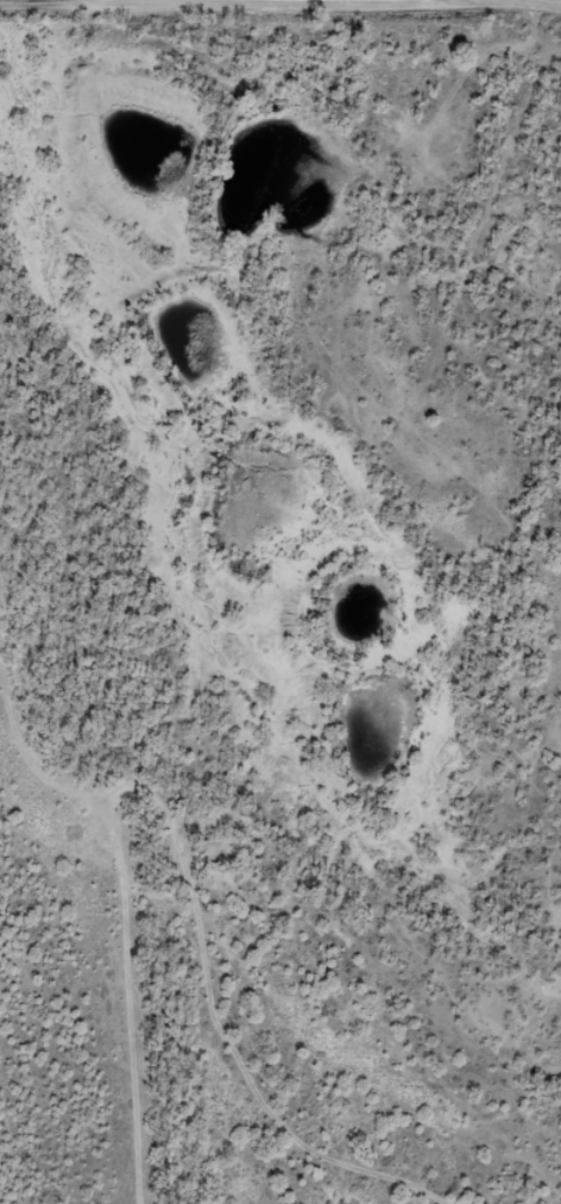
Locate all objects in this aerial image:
road: (280, 1)
road: (437, 360)
road: (257, 1130)

